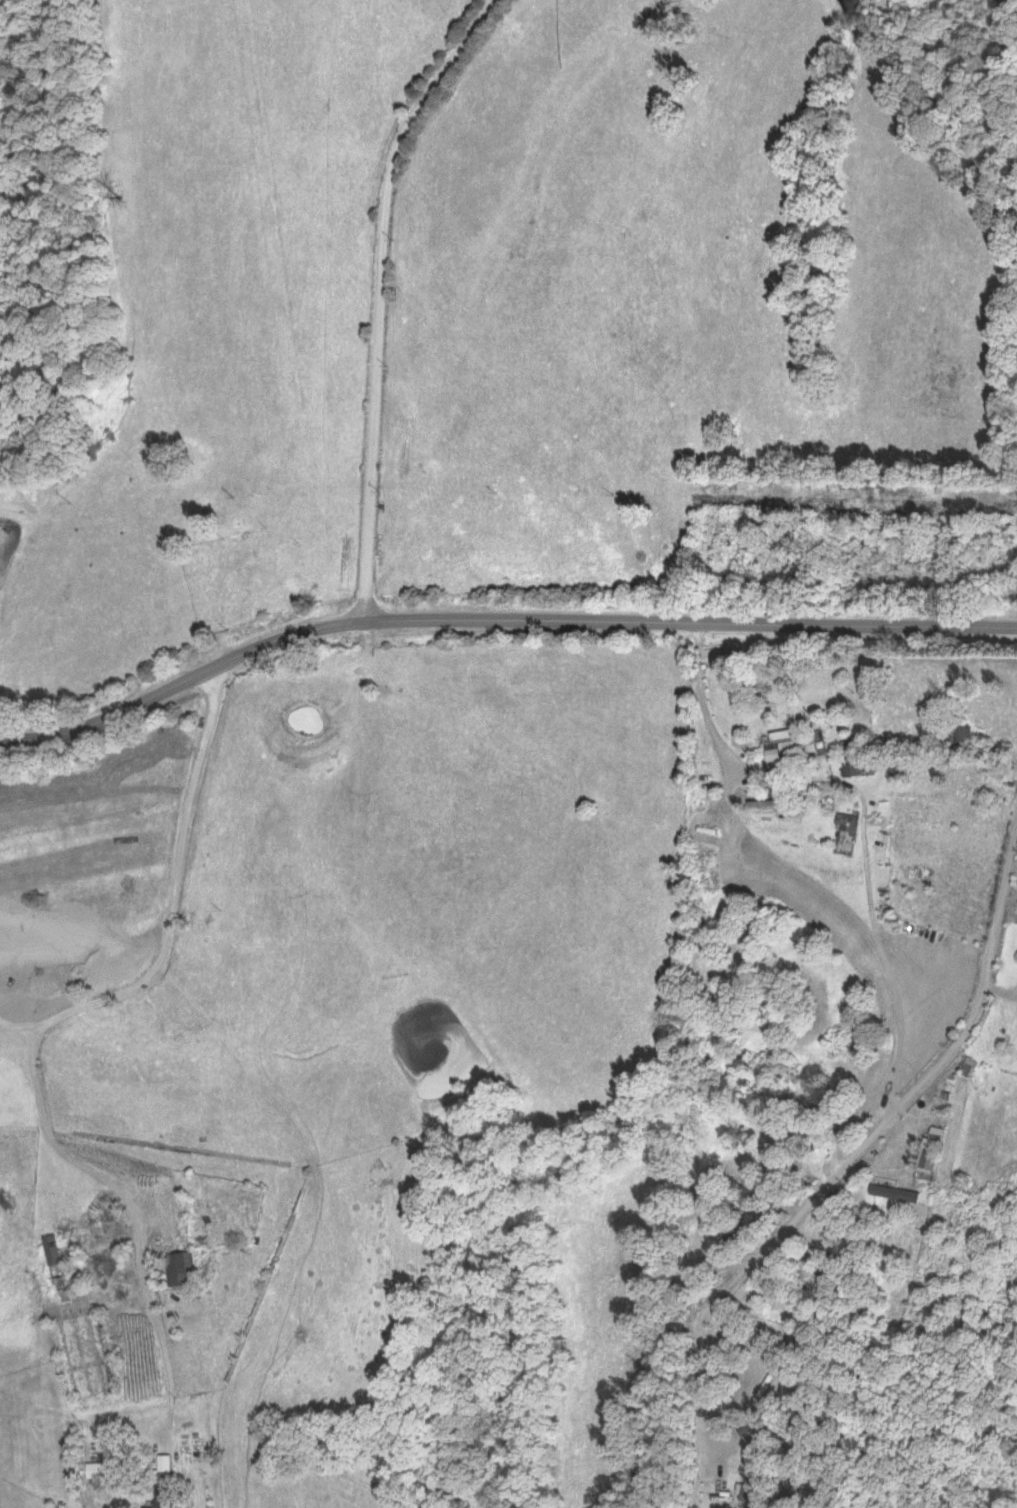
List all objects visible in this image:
road: (377, 293)
road: (497, 614)
building: (951, 734)
building: (783, 743)
building: (846, 756)
road: (852, 788)
building: (840, 819)
road: (786, 866)
road: (33, 1035)
building: (963, 1065)
road: (861, 1132)
building: (925, 1150)
building: (889, 1191)
building: (174, 1264)
building: (158, 1461)
building: (157, 1496)

